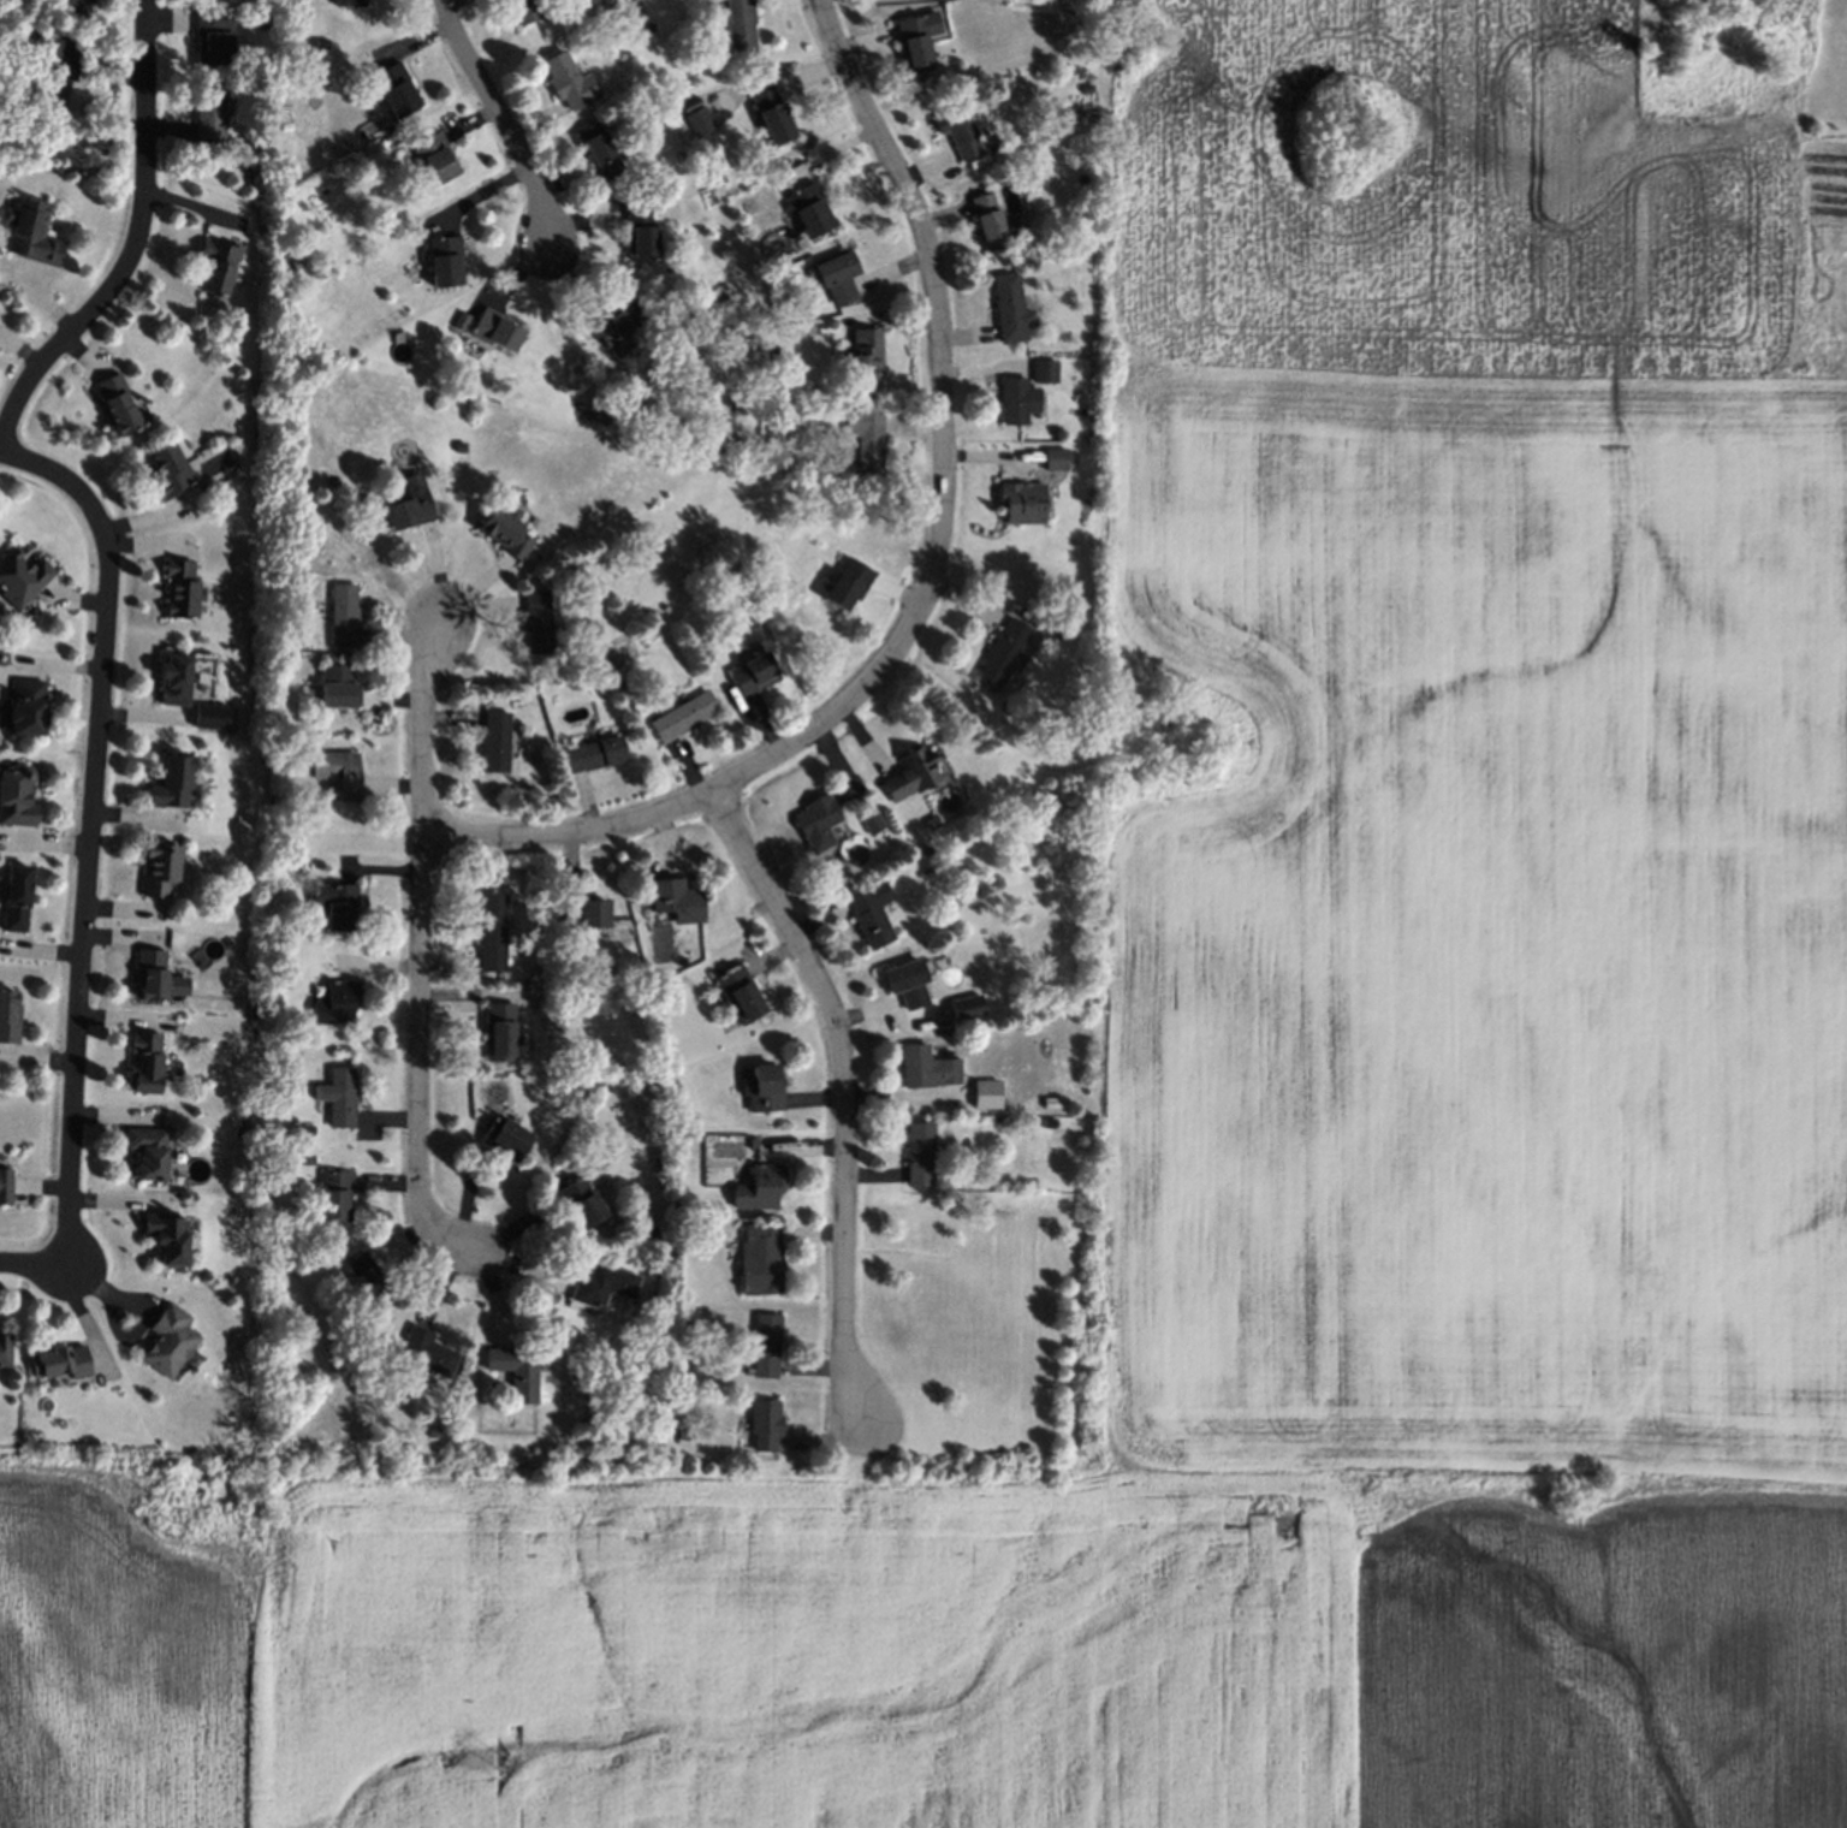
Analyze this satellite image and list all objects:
building: (351, 4)
building: (75, 6)
building: (524, 10)
building: (740, 26)
building: (213, 40)
building: (322, 43)
building: (913, 46)
building: (66, 59)
building: (569, 84)
building: (1087, 87)
building: (396, 91)
building: (52, 100)
building: (208, 114)
building: (773, 115)
road: (497, 119)
building: (700, 120)
building: (960, 133)
building: (599, 153)
building: (435, 158)
building: (291, 172)
crop: (1430, 191)
building: (809, 213)
building: (987, 224)
building: (32, 235)
building: (640, 237)
road: (132, 243)
building: (446, 262)
building: (297, 263)
building: (216, 266)
building: (280, 277)
building: (837, 277)
building: (1009, 311)
building: (462, 322)
building: (616, 326)
building: (285, 331)
building: (495, 331)
building: (867, 358)
road: (939, 368)
building: (1045, 368)
building: (1017, 396)
building: (117, 406)
building: (869, 452)
building: (1058, 457)
building: (1087, 458)
building: (165, 473)
building: (409, 503)
building: (1022, 506)
building: (506, 534)
building: (20, 578)
building: (848, 586)
building: (179, 590)
building: (344, 618)
building: (1034, 621)
building: (538, 624)
building: (1003, 655)
building: (753, 673)
building: (174, 681)
building: (338, 688)
building: (26, 710)
building: (208, 716)
building: (685, 718)
building: (494, 743)
building: (594, 756)
building: (335, 771)
building: (911, 776)
building: (171, 785)
building: (16, 796)
road: (631, 819)
building: (868, 820)
building: (933, 820)
building: (818, 824)
road: (81, 831)
building: (158, 871)
building: (14, 898)
building: (677, 901)
building: (335, 906)
building: (872, 912)
building: (582, 913)
crop: (1487, 919)
building: (493, 933)
road: (416, 946)
building: (155, 980)
building: (907, 984)
building: (738, 992)
building: (1050, 999)
building: (334, 1003)
building: (967, 1009)
building: (7, 1019)
building: (499, 1033)
building: (143, 1061)
building: (926, 1069)
building: (765, 1091)
building: (339, 1094)
road: (839, 1096)
building: (987, 1097)
building: (1055, 1105)
building: (308, 1130)
building: (505, 1139)
building: (149, 1155)
building: (917, 1155)
building: (305, 1157)
building: (5, 1182)
building: (760, 1188)
building: (334, 1198)
building: (581, 1203)
building: (166, 1238)
building: (764, 1260)
road: (32, 1263)
building: (524, 1269)
building: (367, 1280)
building: (602, 1286)
building: (498, 1305)
building: (170, 1343)
building: (766, 1346)
building: (4, 1352)
building: (427, 1352)
building: (61, 1366)
building: (684, 1369)
building: (518, 1373)
building: (765, 1425)
building: (684, 1435)
building: (571, 1441)
crop: (1609, 1666)

